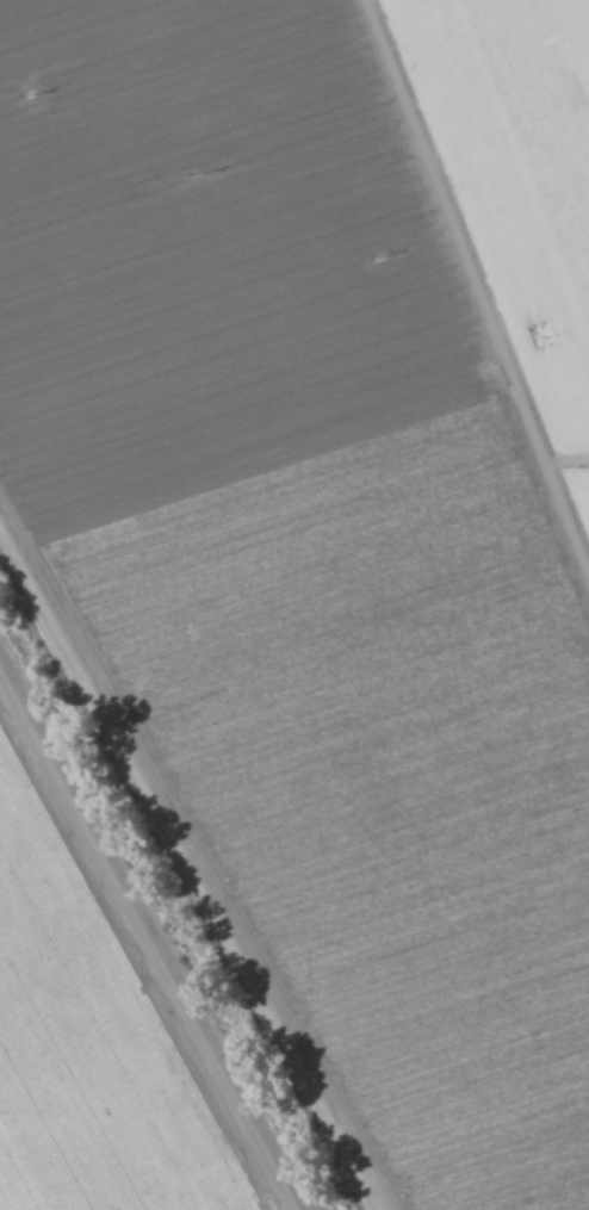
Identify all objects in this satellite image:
road: (473, 290)
road: (156, 920)

